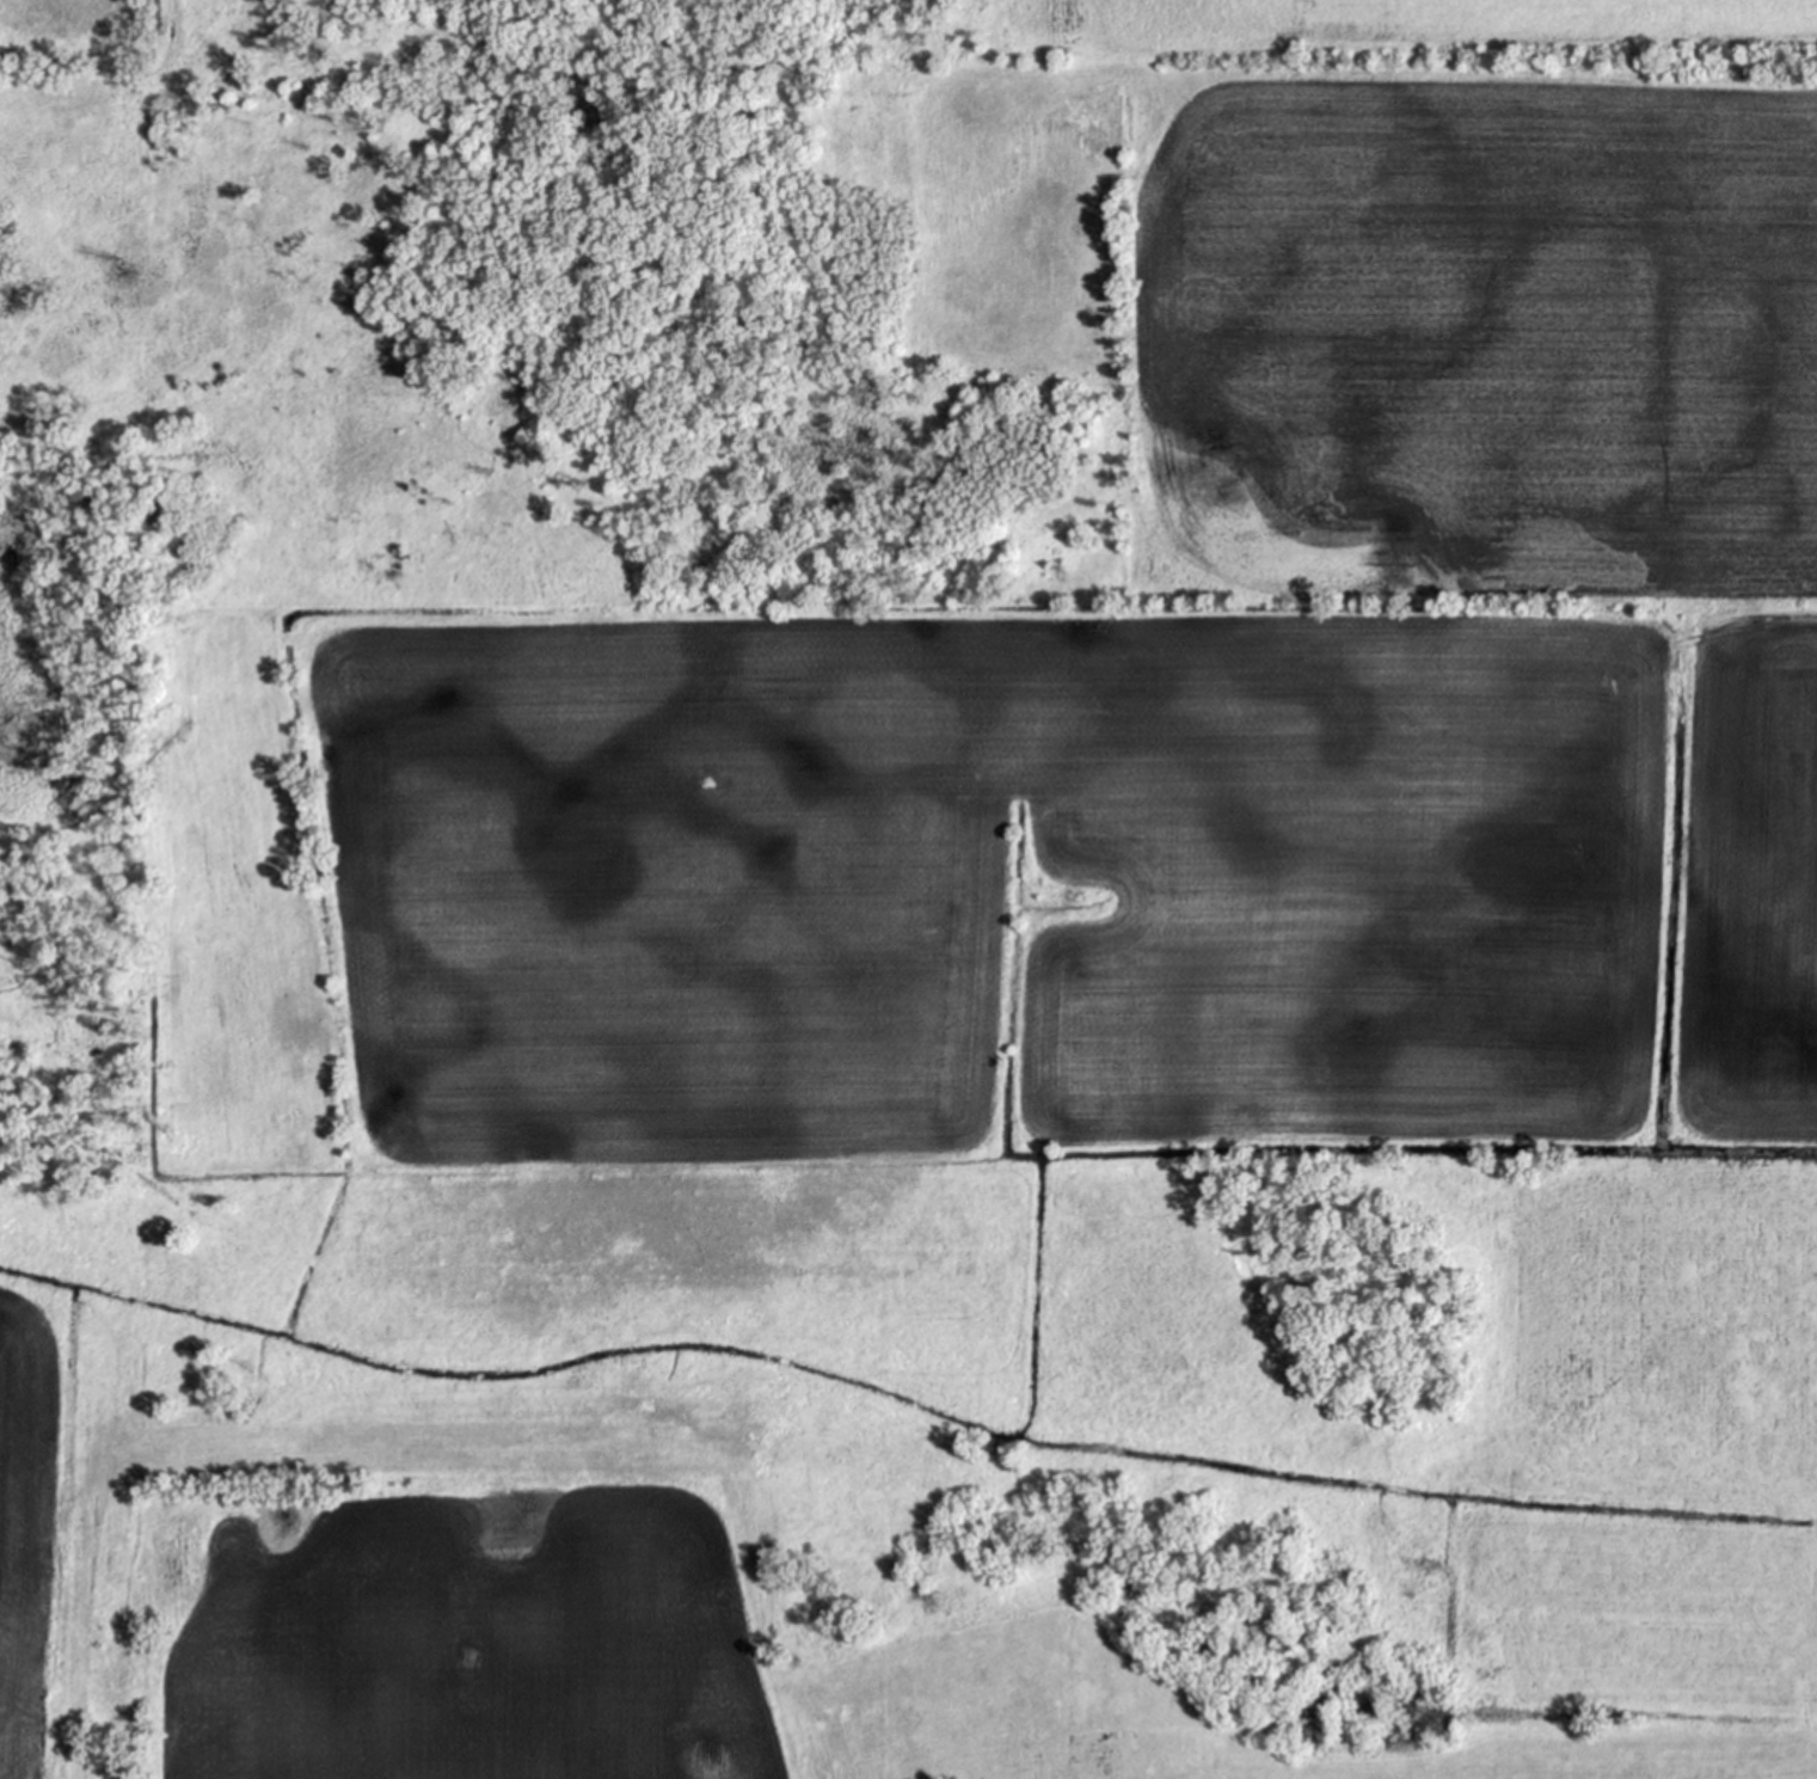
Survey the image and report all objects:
building: (286, 639)
building: (139, 1301)

